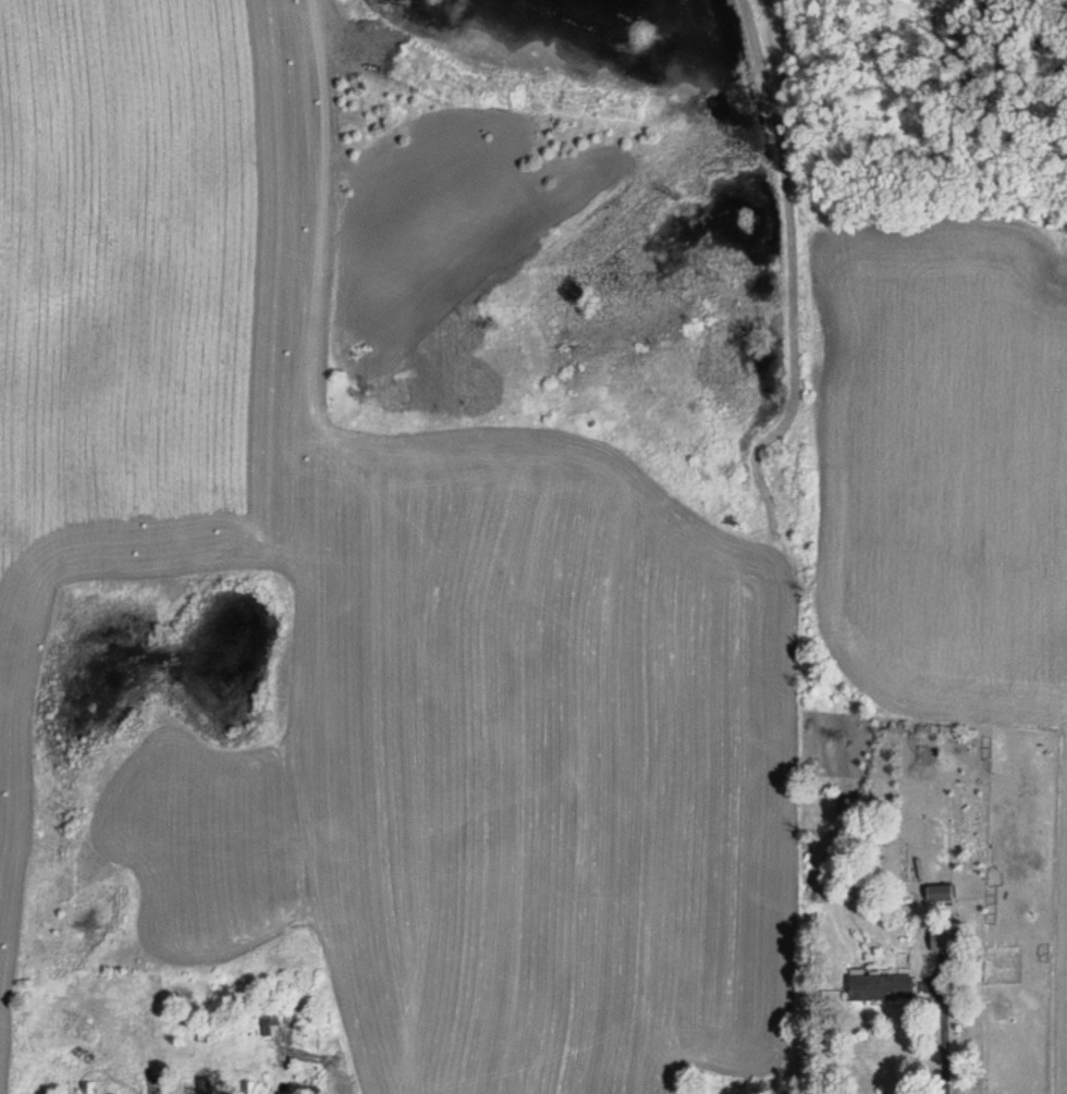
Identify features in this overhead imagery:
building: (940, 895)
building: (946, 941)
building: (882, 987)
building: (248, 1089)

